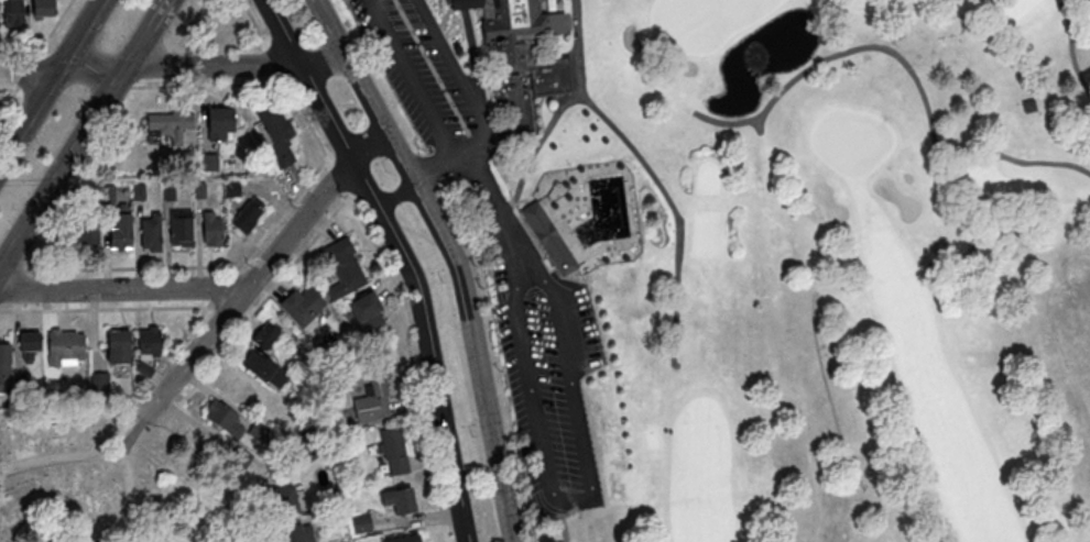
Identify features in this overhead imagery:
road: (450, 1)
road: (459, 3)
building: (461, 3)
road: (468, 3)
building: (44, 8)
road: (1062, 10)
road: (159, 12)
building: (12, 13)
road: (445, 13)
road: (254, 22)
building: (556, 22)
road: (434, 25)
road: (327, 26)
road: (53, 27)
road: (552, 33)
building: (519, 44)
road: (1070, 47)
road: (20, 51)
road: (273, 59)
road: (904, 62)
road: (472, 63)
road: (320, 64)
road: (149, 67)
road: (26, 69)
parking lot: (418, 70)
road: (50, 80)
road: (207, 85)
road: (122, 86)
road: (8, 89)
road: (9, 99)
road: (375, 115)
road: (305, 120)
building: (219, 122)
building: (166, 125)
building: (274, 132)
road: (538, 143)
road: (366, 145)
road: (75, 146)
road: (498, 146)
road: (944, 148)
road: (461, 152)
road: (1011, 158)
building: (208, 161)
road: (432, 168)
road: (652, 174)
road: (337, 177)
road: (391, 193)
road: (568, 207)
road: (281, 214)
building: (247, 215)
building: (181, 226)
building: (120, 228)
building: (211, 228)
building: (150, 231)
building: (86, 234)
building: (548, 234)
road: (400, 257)
park: (773, 257)
road: (257, 266)
road: (137, 267)
building: (344, 267)
road: (12, 270)
road: (460, 286)
road: (225, 287)
road: (247, 287)
road: (123, 289)
road: (261, 301)
building: (302, 305)
road: (124, 308)
building: (366, 310)
road: (188, 329)
building: (265, 334)
road: (579, 339)
building: (29, 344)
building: (66, 344)
building: (118, 345)
building: (148, 346)
road: (411, 360)
building: (4, 367)
building: (263, 367)
parking lot: (546, 376)
building: (22, 379)
building: (99, 380)
building: (232, 387)
building: (373, 397)
building: (222, 417)
road: (194, 421)
building: (258, 430)
road: (131, 434)
building: (393, 450)
road: (58, 456)
road: (547, 469)
road: (497, 472)
park: (105, 479)
road: (130, 496)
building: (283, 499)
building: (403, 500)
building: (335, 520)
road: (252, 521)
building: (361, 523)
building: (295, 532)
building: (407, 539)
building: (344, 541)

